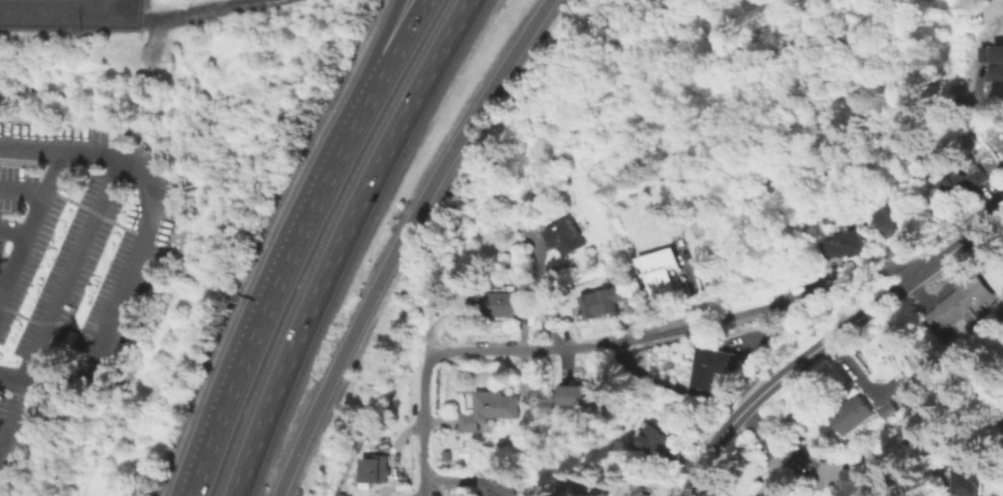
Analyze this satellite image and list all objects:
road: (234, 8)
power substation: (69, 13)
road: (383, 50)
road: (398, 52)
building: (997, 65)
building: (1002, 146)
road: (982, 151)
road: (49, 169)
building: (981, 177)
building: (950, 194)
building: (899, 217)
road: (27, 220)
road: (11, 229)
road: (140, 234)
road: (397, 240)
building: (567, 240)
road: (338, 241)
building: (846, 245)
road: (68, 269)
building: (660, 273)
road: (269, 295)
road: (538, 296)
building: (607, 302)
building: (964, 306)
building: (504, 309)
road: (678, 330)
road: (828, 340)
building: (715, 368)
road: (9, 381)
building: (576, 396)
building: (493, 408)
building: (889, 411)
road: (9, 413)
building: (854, 416)
road: (423, 427)
building: (662, 441)
road: (784, 444)
building: (376, 470)
building: (971, 481)
building: (779, 483)
building: (861, 484)
building: (503, 489)
building: (645, 490)

